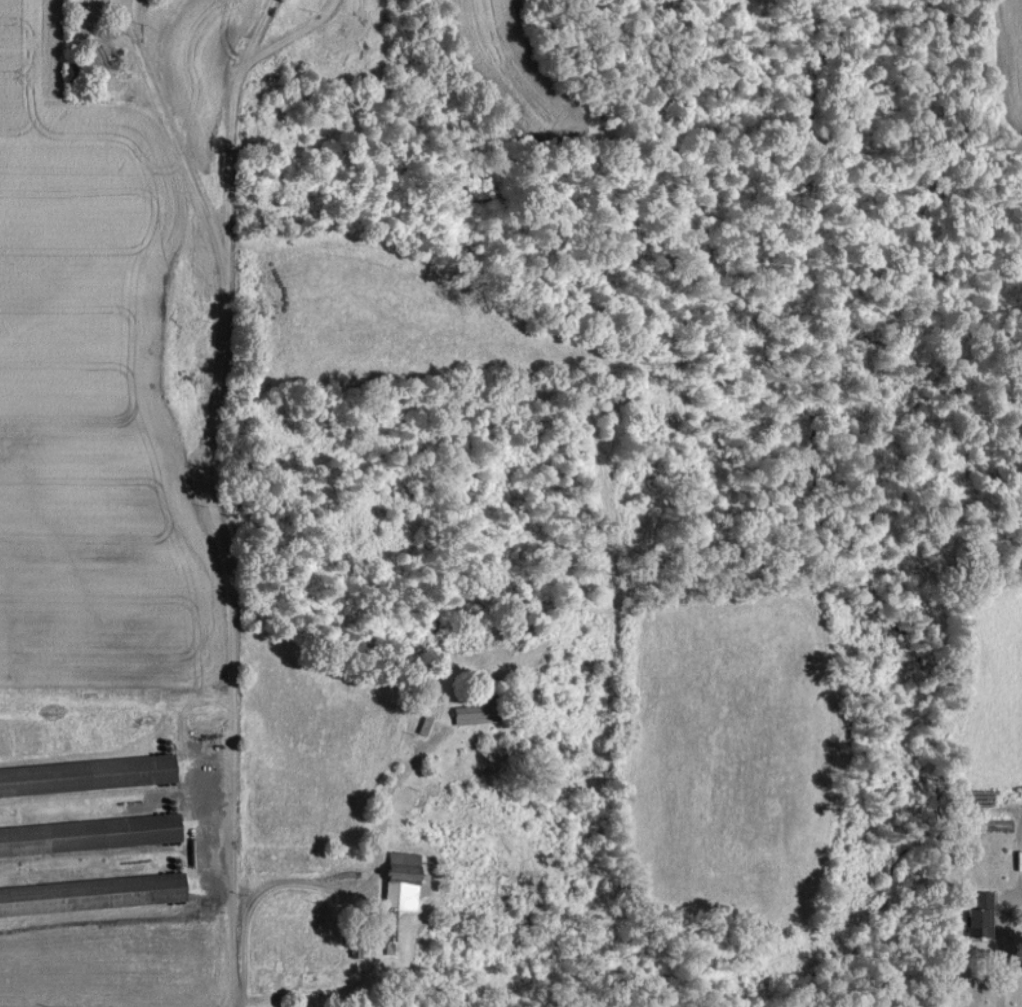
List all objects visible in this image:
building: (468, 715)
building: (147, 829)
building: (403, 879)
building: (978, 914)

